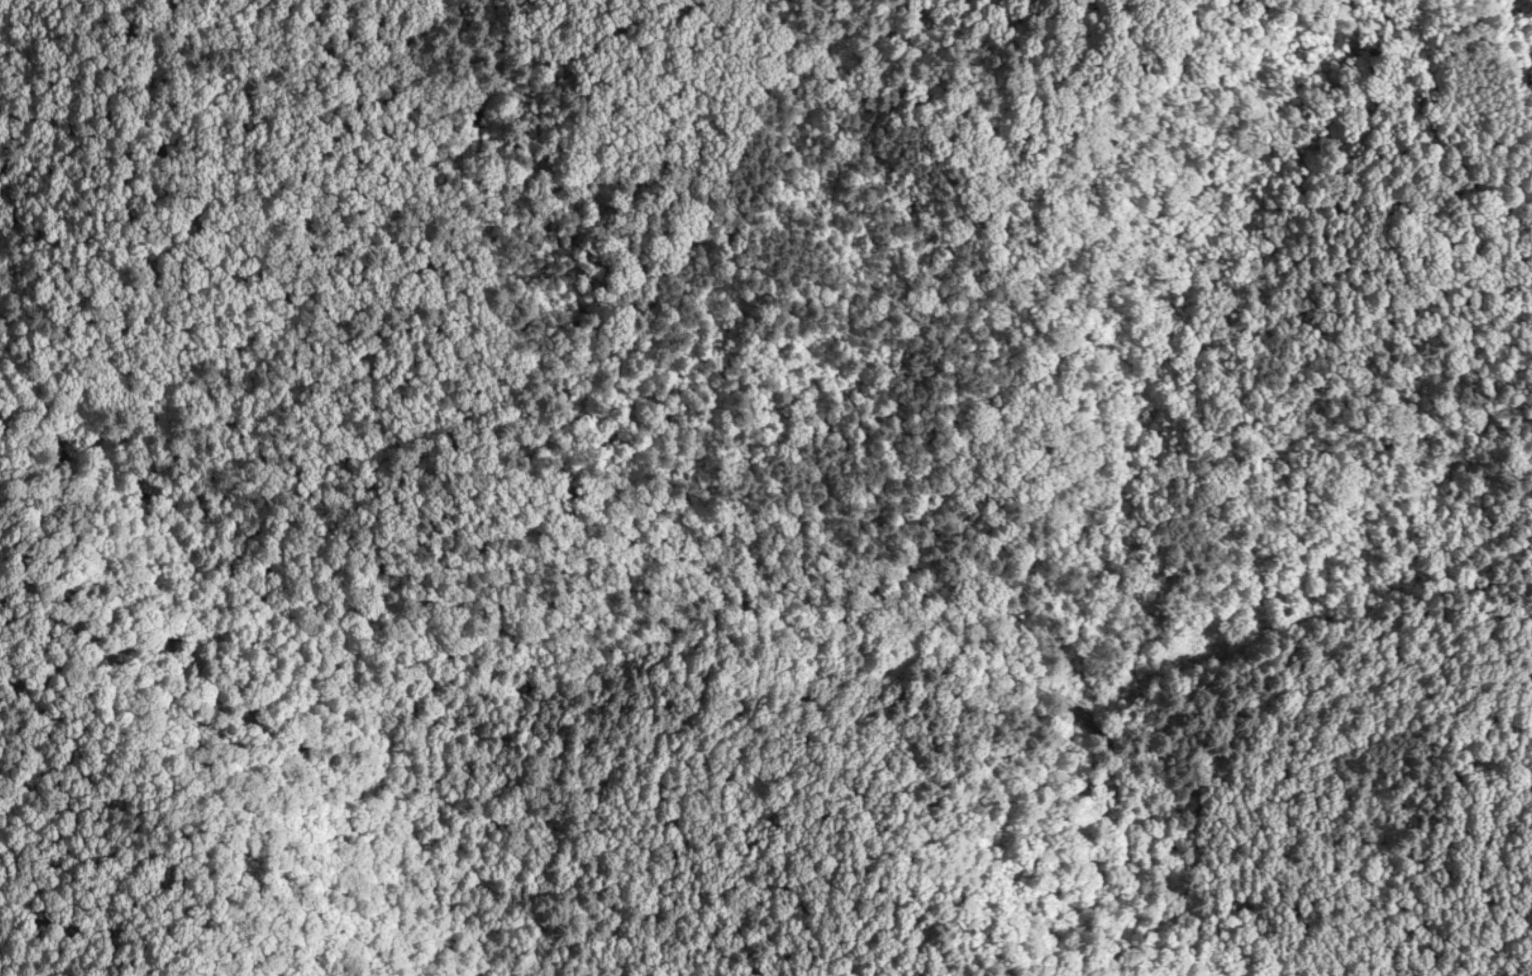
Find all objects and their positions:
road: (1175, 833)

